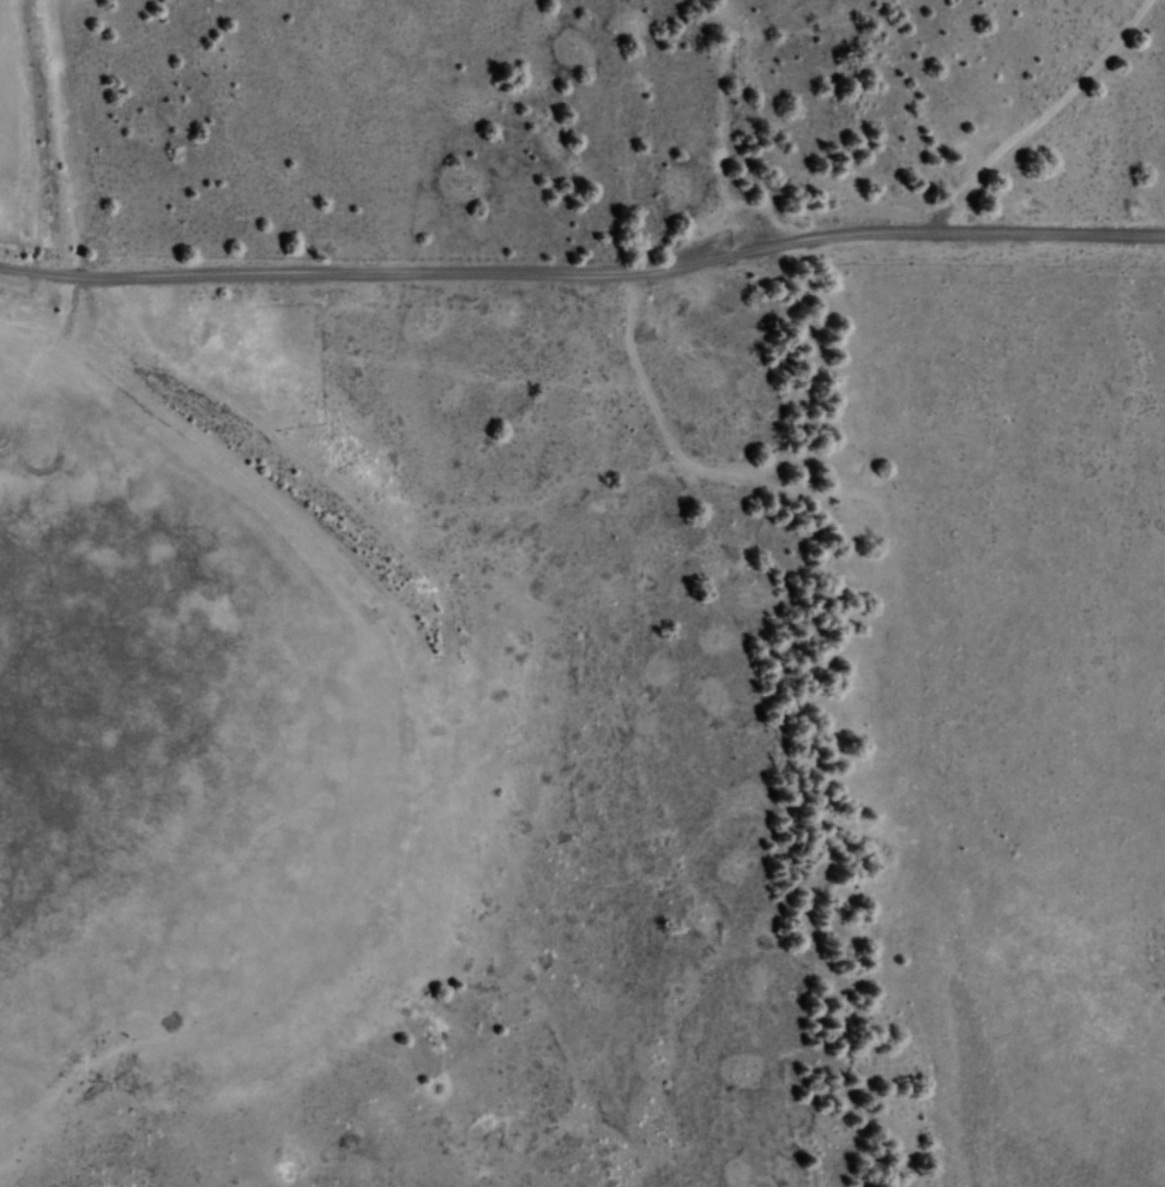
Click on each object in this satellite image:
road: (1043, 120)
road: (584, 274)
road: (871, 668)

